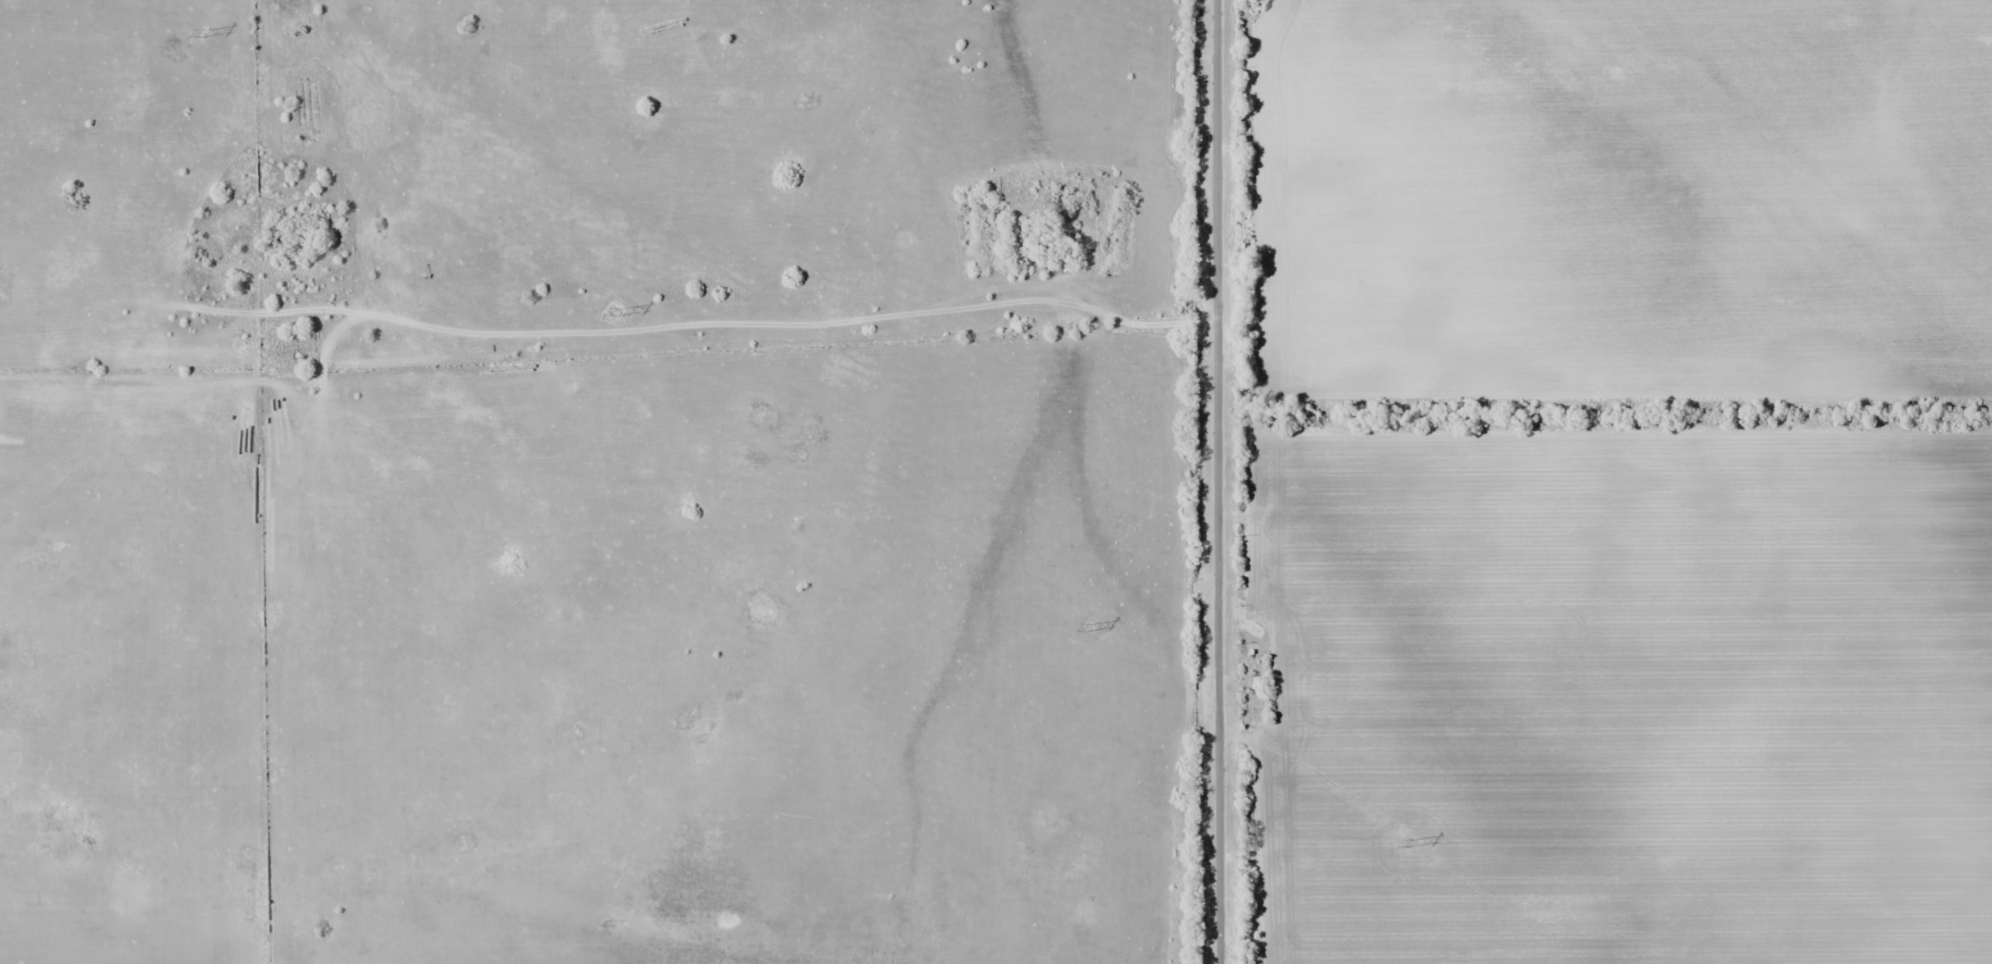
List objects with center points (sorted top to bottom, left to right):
power tower: (204, 33)
power tower: (619, 311)
road: (1215, 482)
power tower: (1087, 628)
power tower: (1408, 843)

